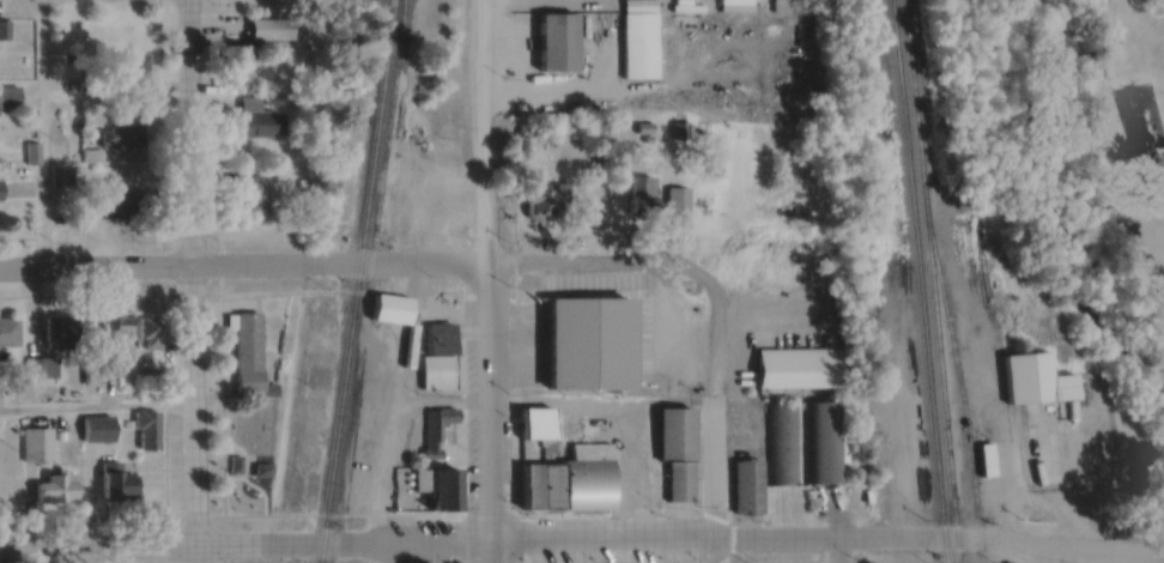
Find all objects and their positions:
building: (268, 30)
building: (637, 38)
building: (553, 43)
building: (237, 63)
building: (129, 67)
building: (8, 98)
road: (1159, 98)
building: (257, 126)
road: (41, 137)
building: (121, 138)
building: (523, 138)
building: (31, 155)
building: (1135, 162)
building: (249, 199)
building: (677, 201)
building: (119, 202)
building: (541, 205)
river: (1053, 216)
road: (351, 262)
road: (489, 270)
road: (193, 280)
railway: (357, 281)
railway: (920, 281)
railway: (928, 281)
building: (390, 307)
building: (534, 308)
building: (133, 331)
building: (7, 333)
building: (60, 333)
building: (437, 335)
railway: (405, 337)
building: (592, 338)
building: (247, 353)
building: (796, 364)
railway: (956, 367)
building: (40, 369)
building: (369, 383)
building: (1037, 407)
road: (96, 411)
road: (717, 414)
building: (534, 424)
building: (677, 429)
building: (366, 430)
building: (146, 431)
building: (819, 438)
building: (780, 441)
building: (35, 447)
building: (987, 456)
building: (437, 465)
building: (568, 482)
building: (115, 486)
building: (746, 489)
building: (55, 490)
road: (941, 538)
road: (605, 539)
road: (244, 544)
road: (838, 550)
road: (907, 550)
road: (491, 552)
road: (1010, 552)

